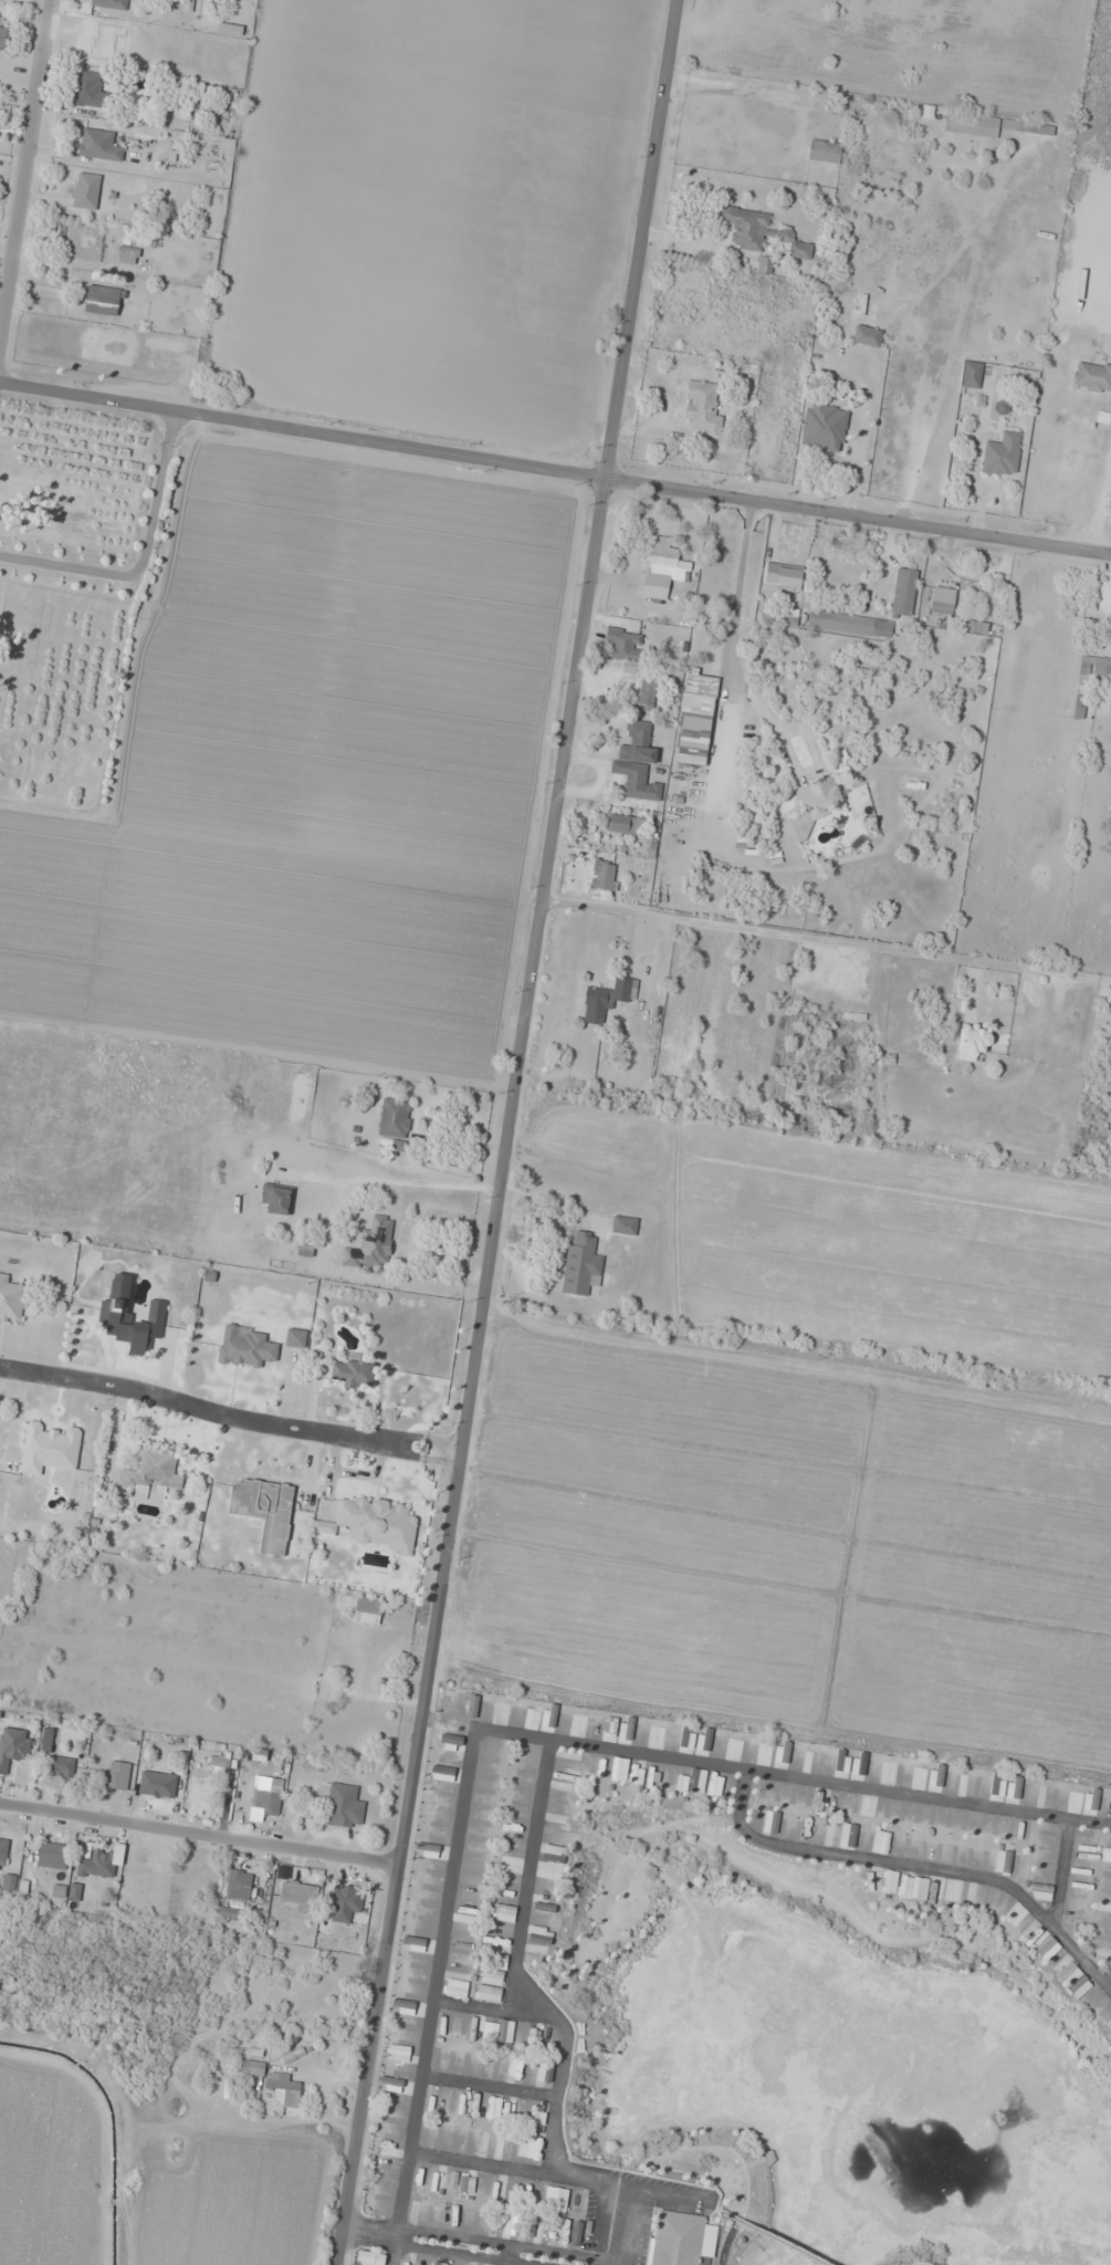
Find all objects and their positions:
building: (111, 3)
building: (3, 34)
building: (88, 91)
building: (992, 126)
building: (99, 145)
building: (824, 152)
road: (24, 170)
building: (86, 190)
building: (746, 229)
building: (796, 246)
building: (127, 255)
building: (102, 301)
building: (867, 336)
building: (971, 375)
building: (1092, 377)
building: (702, 407)
building: (824, 427)
building: (1002, 455)
road: (555, 472)
building: (663, 571)
building: (783, 576)
building: (903, 592)
building: (942, 601)
building: (849, 624)
building: (976, 627)
building: (623, 644)
building: (1101, 669)
building: (646, 695)
building: (694, 719)
building: (637, 763)
building: (819, 797)
building: (625, 824)
building: (602, 875)
road: (826, 946)
building: (606, 999)
building: (971, 1040)
building: (395, 1121)
road: (506, 1131)
building: (276, 1199)
building: (623, 1224)
building: (371, 1245)
building: (580, 1264)
building: (10, 1299)
building: (129, 1317)
building: (295, 1337)
building: (244, 1346)
building: (352, 1372)
road: (228, 1416)
building: (50, 1447)
building: (153, 1470)
building: (265, 1510)
building: (377, 1523)
building: (367, 1610)
building: (472, 1705)
building: (533, 1714)
building: (551, 1715)
building: (686, 1737)
building: (704, 1740)
building: (451, 1741)
building: (737, 1745)
building: (13, 1746)
building: (813, 1756)
building: (442, 1758)
building: (839, 1761)
building: (62, 1766)
building: (619, 1768)
building: (889, 1772)
building: (446, 1774)
building: (116, 1775)
building: (696, 1781)
road: (790, 1781)
building: (995, 1784)
building: (681, 1785)
building: (715, 1785)
building: (1015, 1788)
building: (265, 1802)
building: (344, 1806)
building: (867, 1808)
building: (771, 1822)
road: (199, 1834)
building: (881, 1841)
building: (3, 1851)
building: (52, 1855)
building: (1105, 1855)
building: (98, 1865)
road: (920, 1869)
building: (890, 1881)
road: (1061, 1881)
building: (239, 1885)
building: (920, 1888)
building: (74, 1890)
building: (1040, 1891)
building: (307, 1898)
building: (344, 1903)
building: (230, 1913)
building: (503, 1913)
building: (413, 1942)
building: (1047, 1949)
building: (501, 1961)
road: (518, 1965)
building: (493, 1977)
building: (1073, 1980)
building: (455, 1987)
road: (433, 1989)
building: (489, 1994)
building: (403, 2006)
road: (494, 2011)
building: (252, 2067)
building: (517, 2068)
building: (544, 2074)
building: (391, 2083)
road: (491, 2086)
building: (494, 2108)
building: (537, 2121)
road: (565, 2137)
building: (483, 2144)
building: (501, 2147)
road: (520, 2171)
road: (657, 2205)
road: (387, 2225)
road: (628, 2227)
road: (772, 2236)
building: (681, 2238)
road: (509, 2252)
road: (391, 2255)
building: (369, 2257)
road: (711, 2261)
building: (434, 2264)

